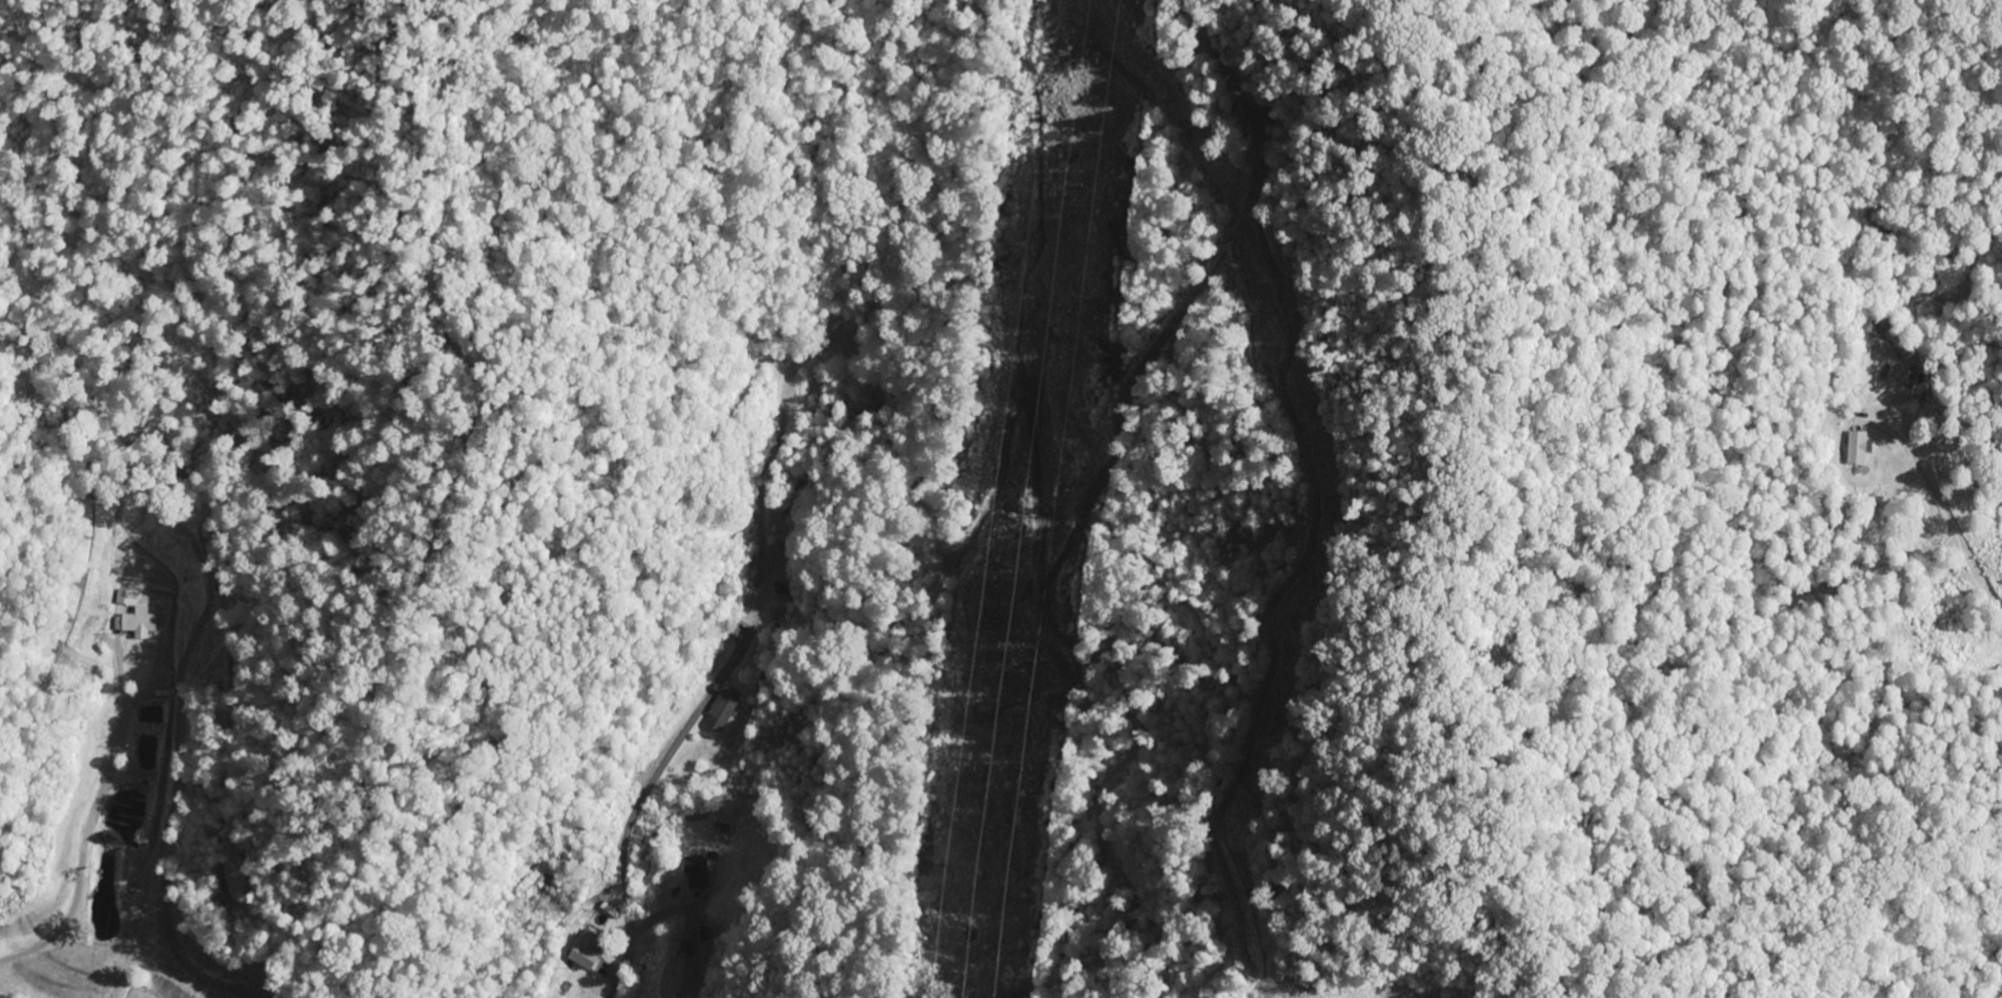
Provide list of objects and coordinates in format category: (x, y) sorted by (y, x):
building: (1900, 388)
building: (1856, 447)
building: (137, 621)
building: (721, 708)
road: (638, 802)
building: (694, 873)
building: (584, 950)
building: (681, 978)

